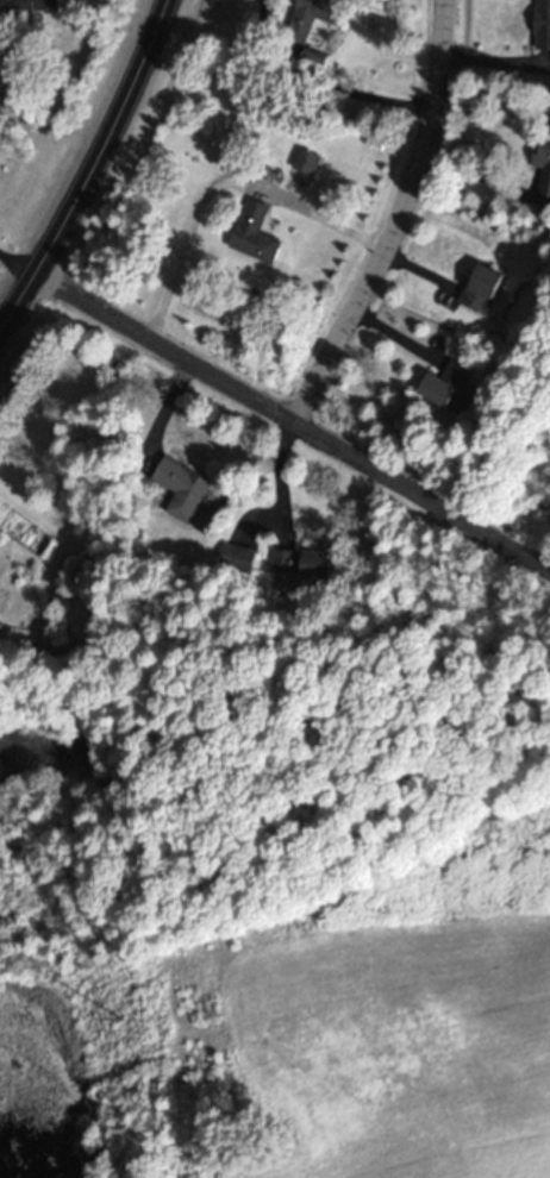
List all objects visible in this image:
building: (30, 10)
building: (313, 21)
building: (545, 27)
road: (321, 88)
building: (546, 163)
building: (308, 164)
road: (93, 165)
road: (475, 178)
road: (221, 184)
road: (392, 215)
building: (256, 236)
road: (18, 262)
building: (486, 292)
building: (454, 391)
road: (295, 418)
road: (280, 478)
building: (183, 491)
building: (239, 559)
building: (306, 563)
power tower: (120, 1021)

